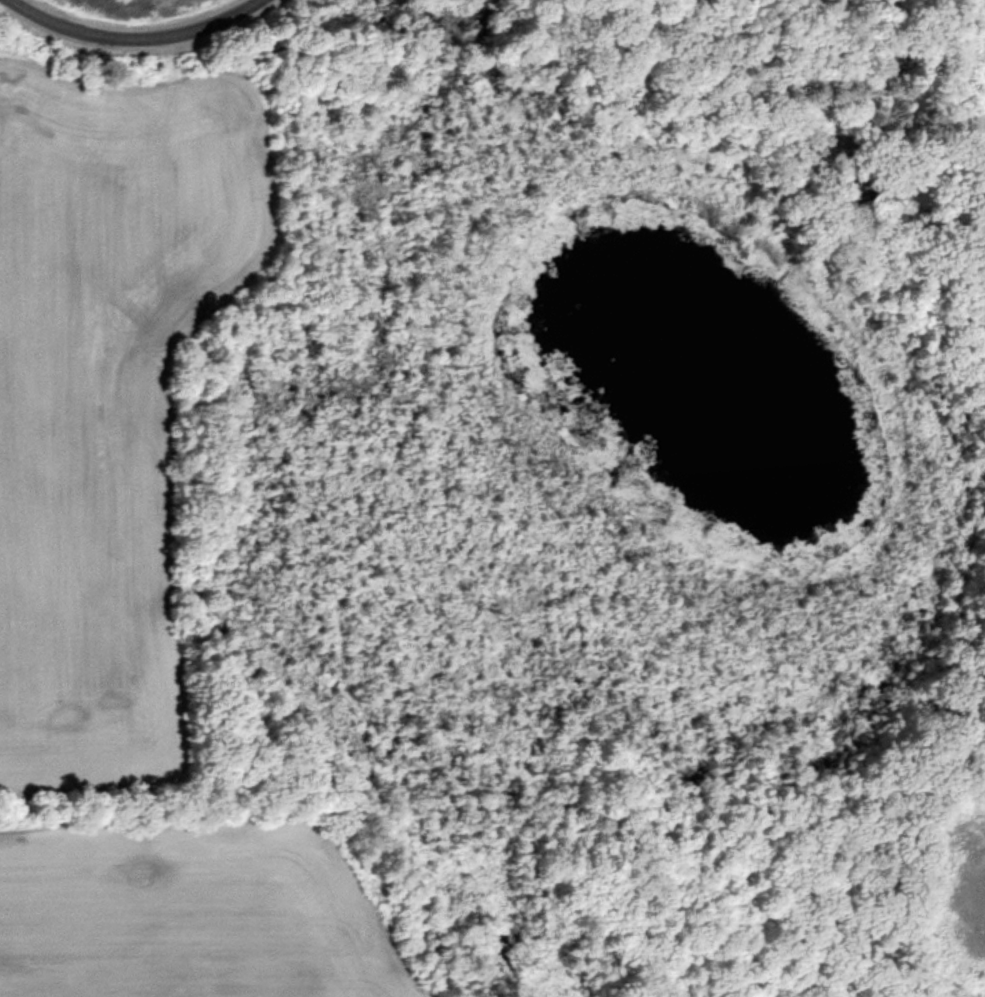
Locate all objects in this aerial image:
road: (138, 34)

